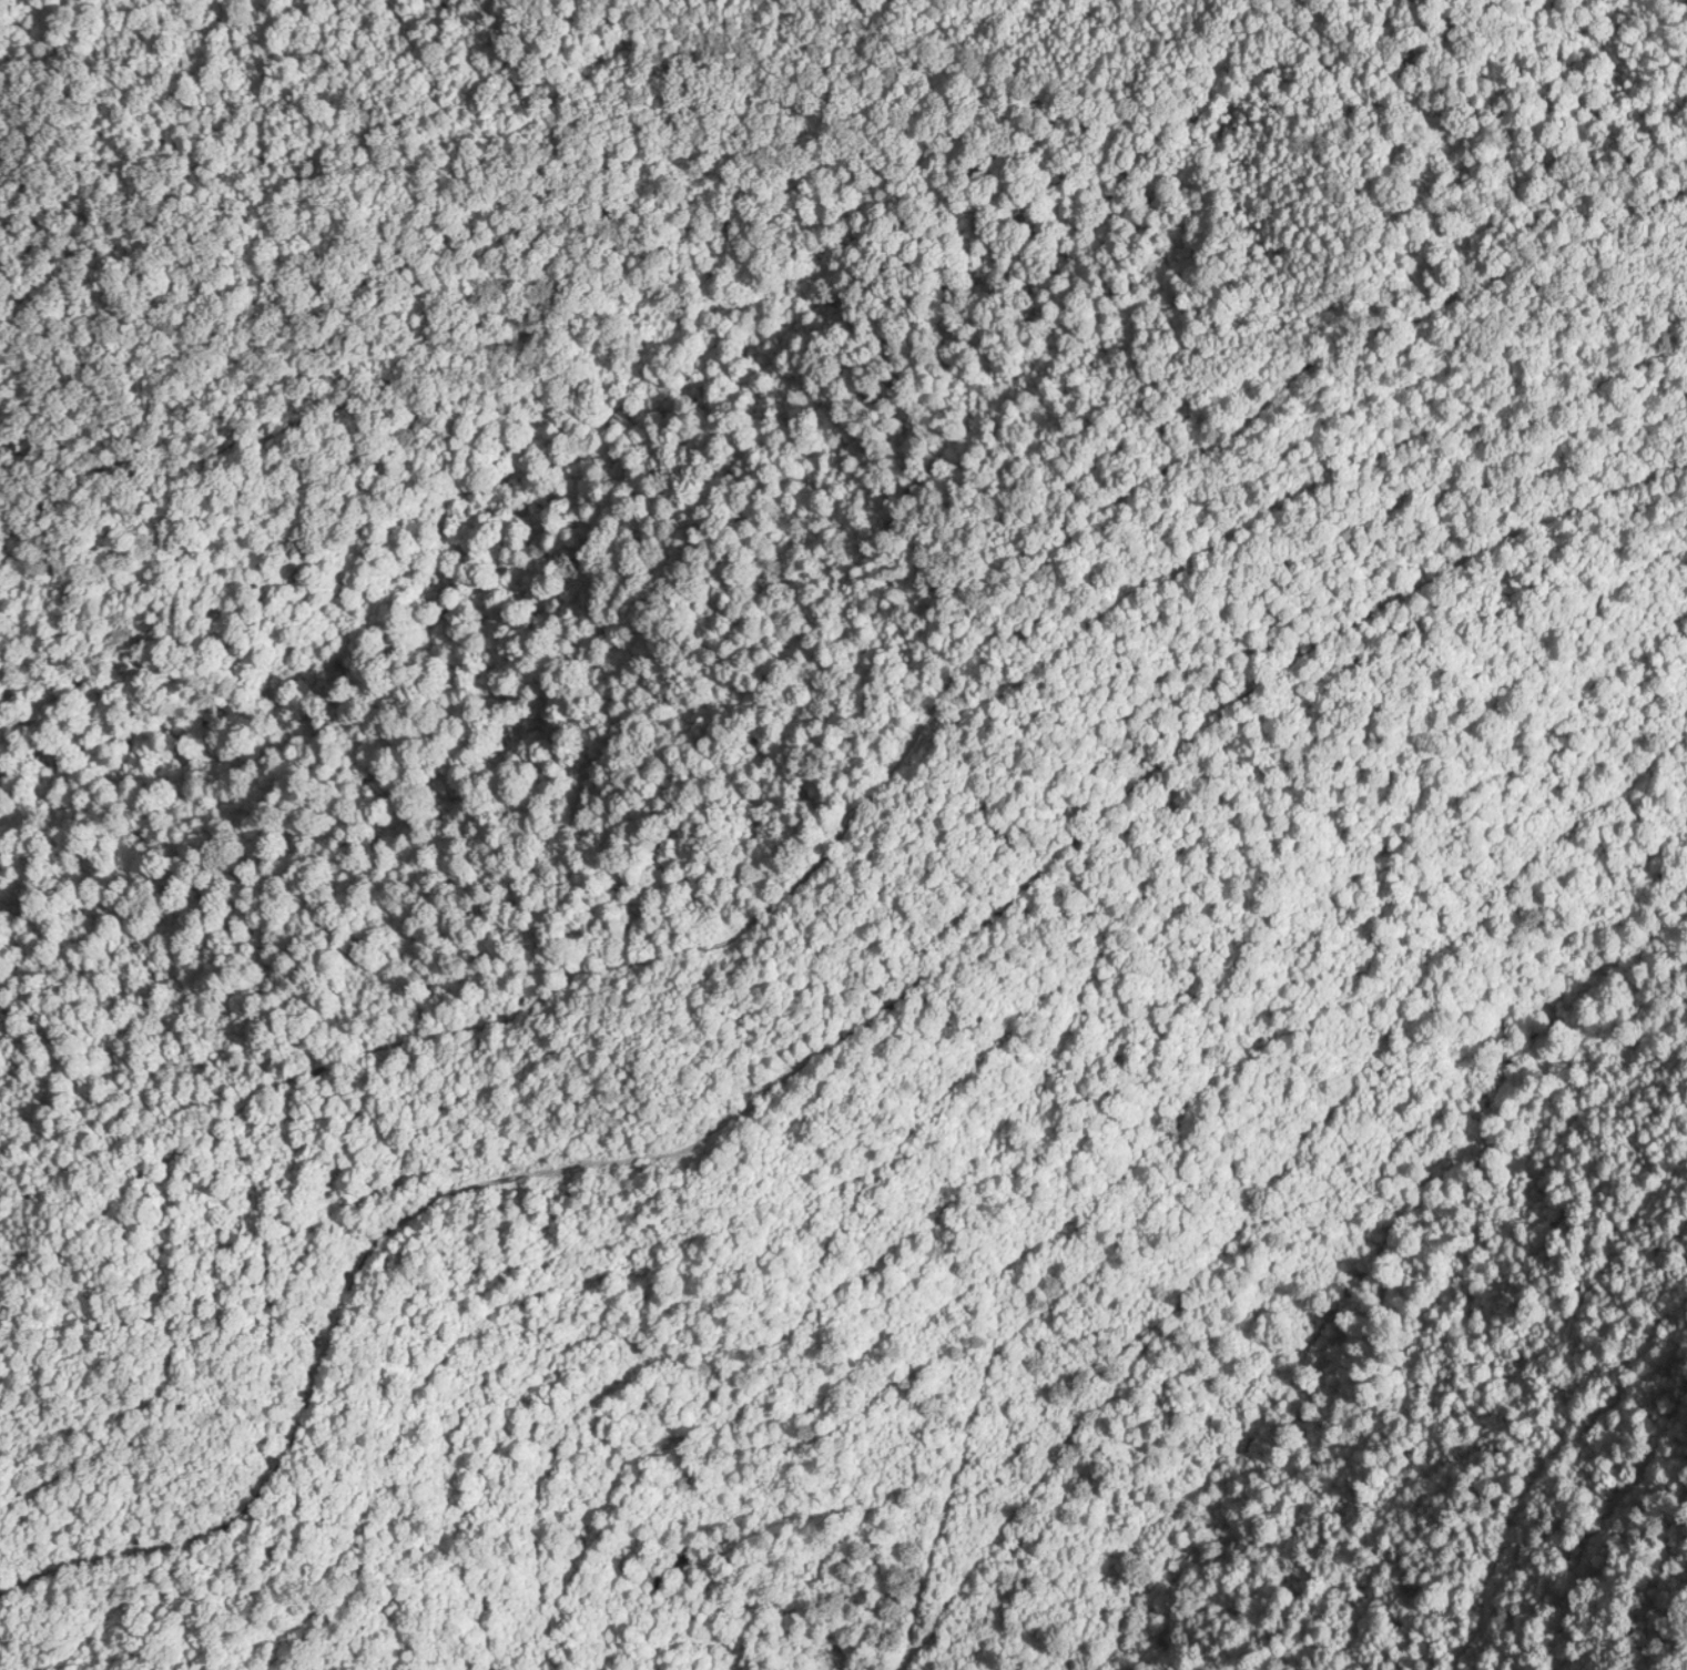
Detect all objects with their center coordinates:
quarry: (35, 1562)

